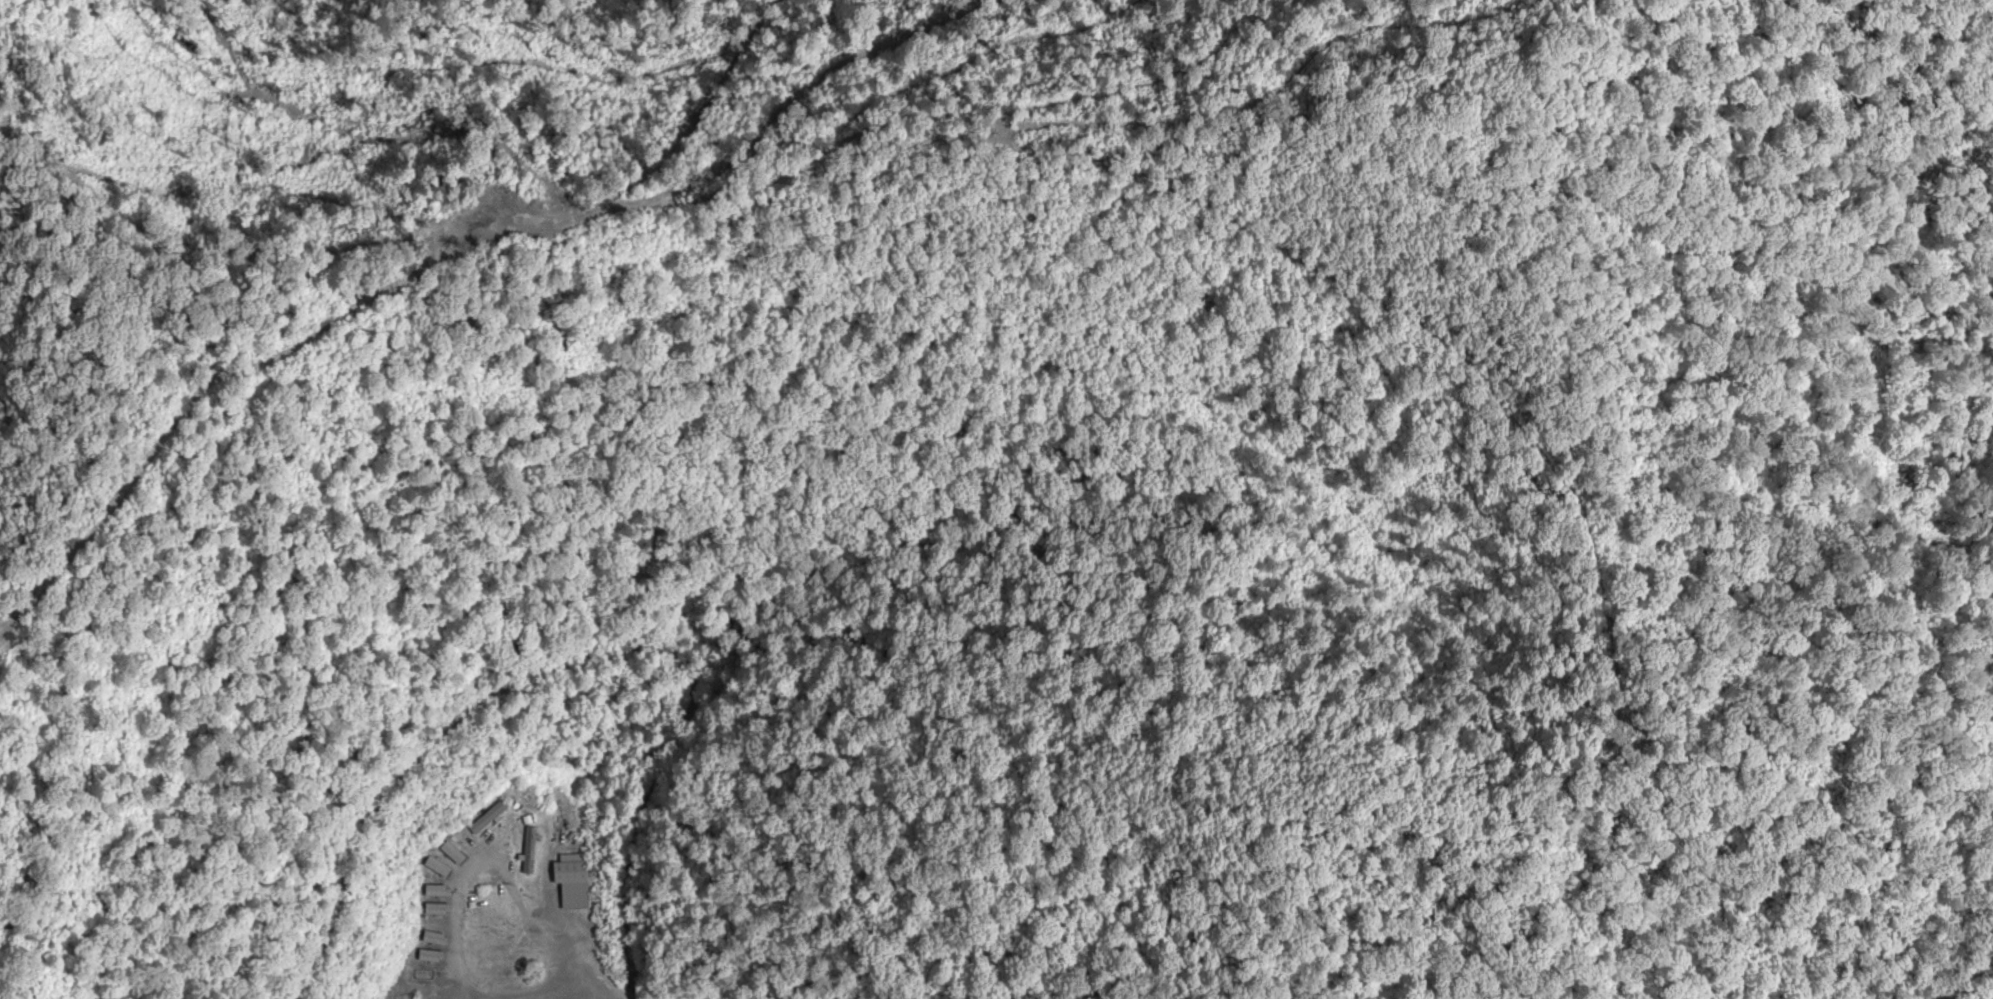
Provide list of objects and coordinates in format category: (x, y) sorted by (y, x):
road: (753, 167)
building: (529, 851)
building: (572, 881)
building: (429, 904)
road: (447, 912)
road: (570, 958)

